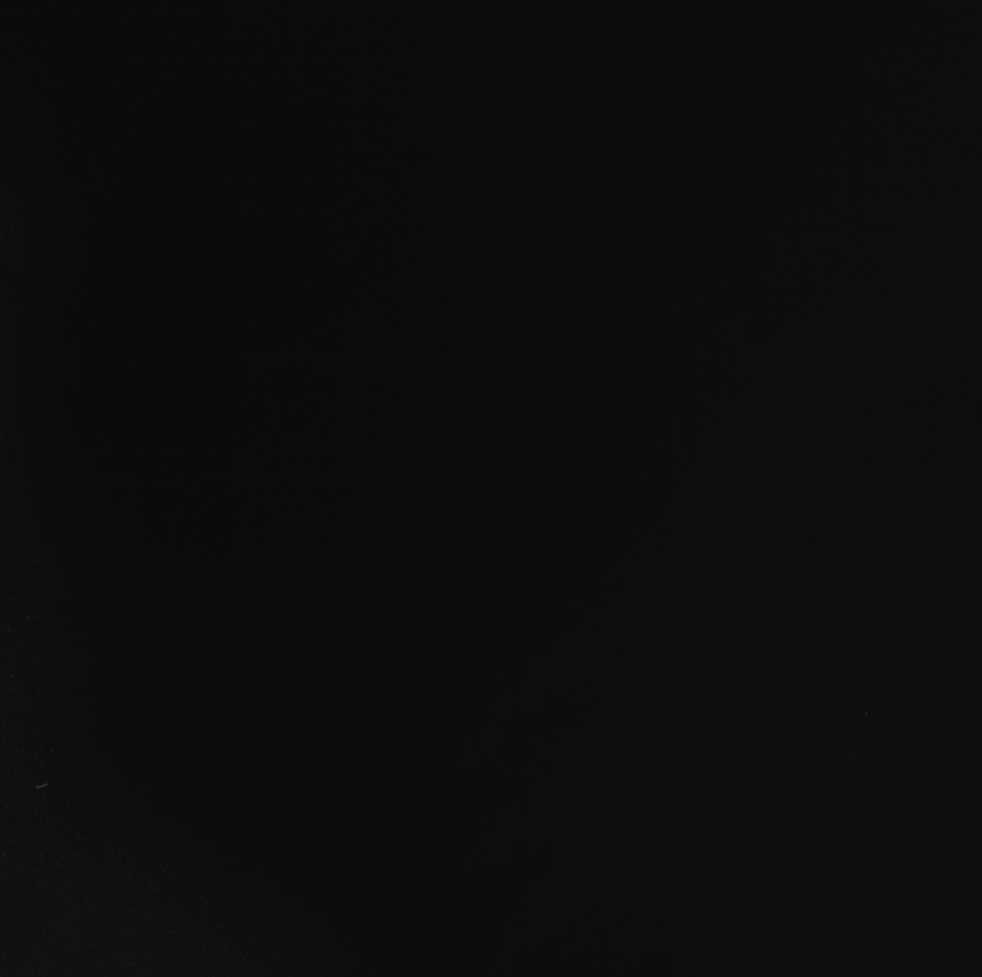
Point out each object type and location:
river: (36, 951)

